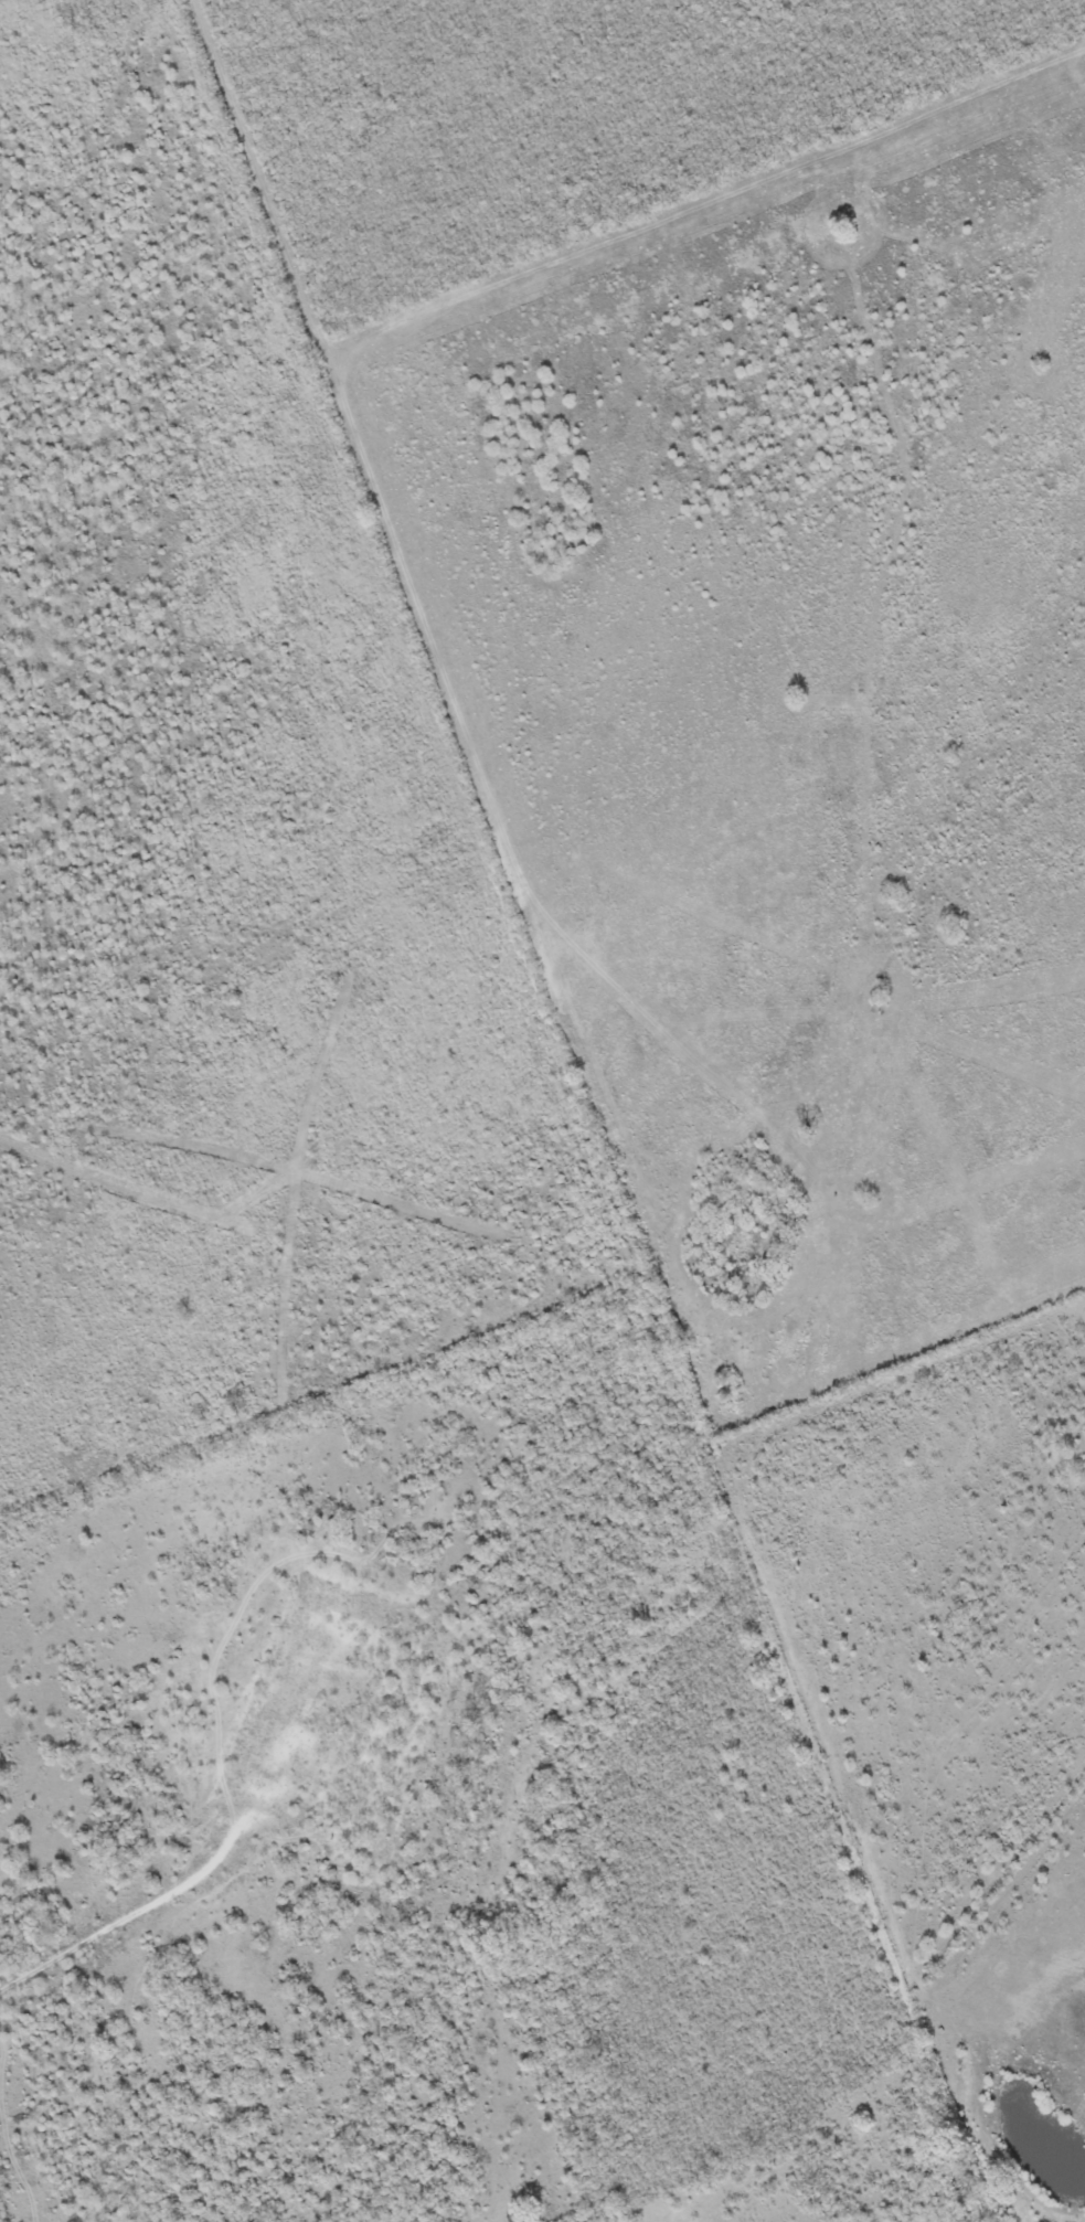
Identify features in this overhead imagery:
road: (137, 1914)

